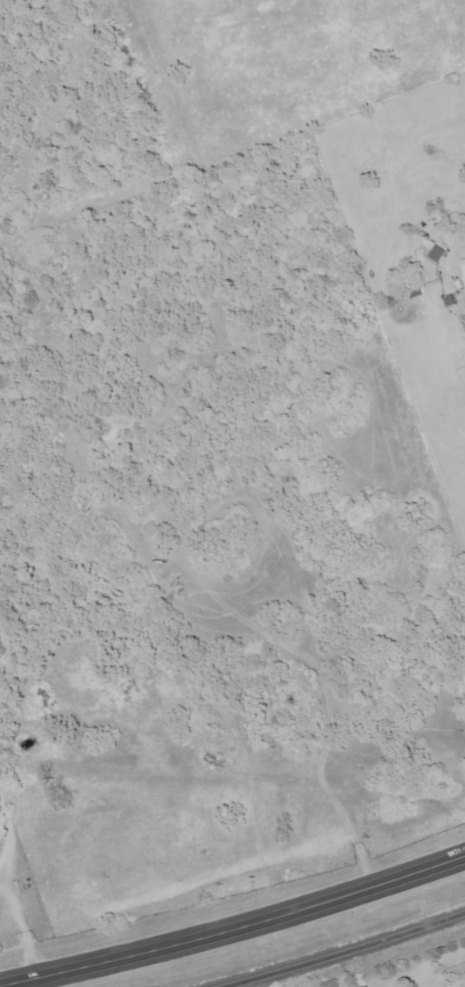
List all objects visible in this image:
building: (440, 255)
road: (235, 927)
railway: (344, 952)
road: (442, 955)
road: (404, 973)
road: (418, 975)

